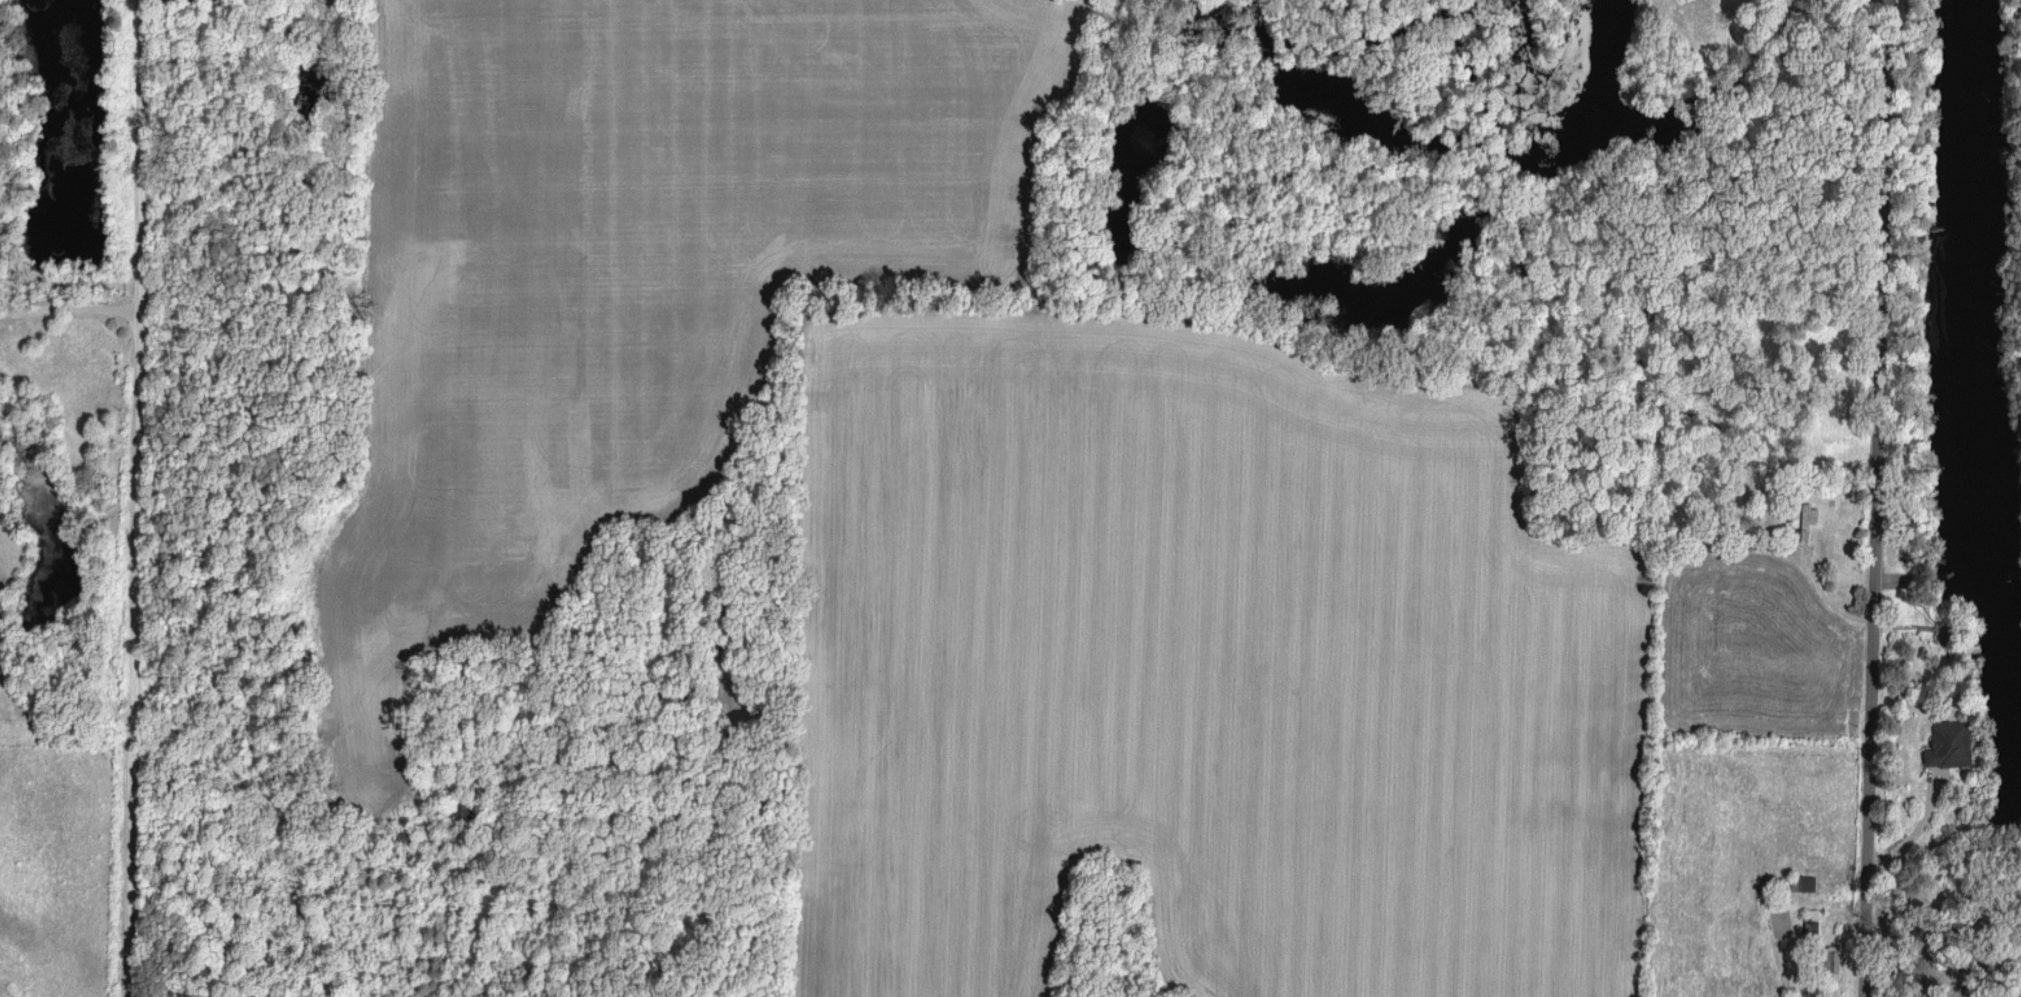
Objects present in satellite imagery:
road: (1809, 1)
road: (69, 306)
road: (137, 498)
road: (1875, 498)
building: (1950, 744)
building: (1810, 882)

